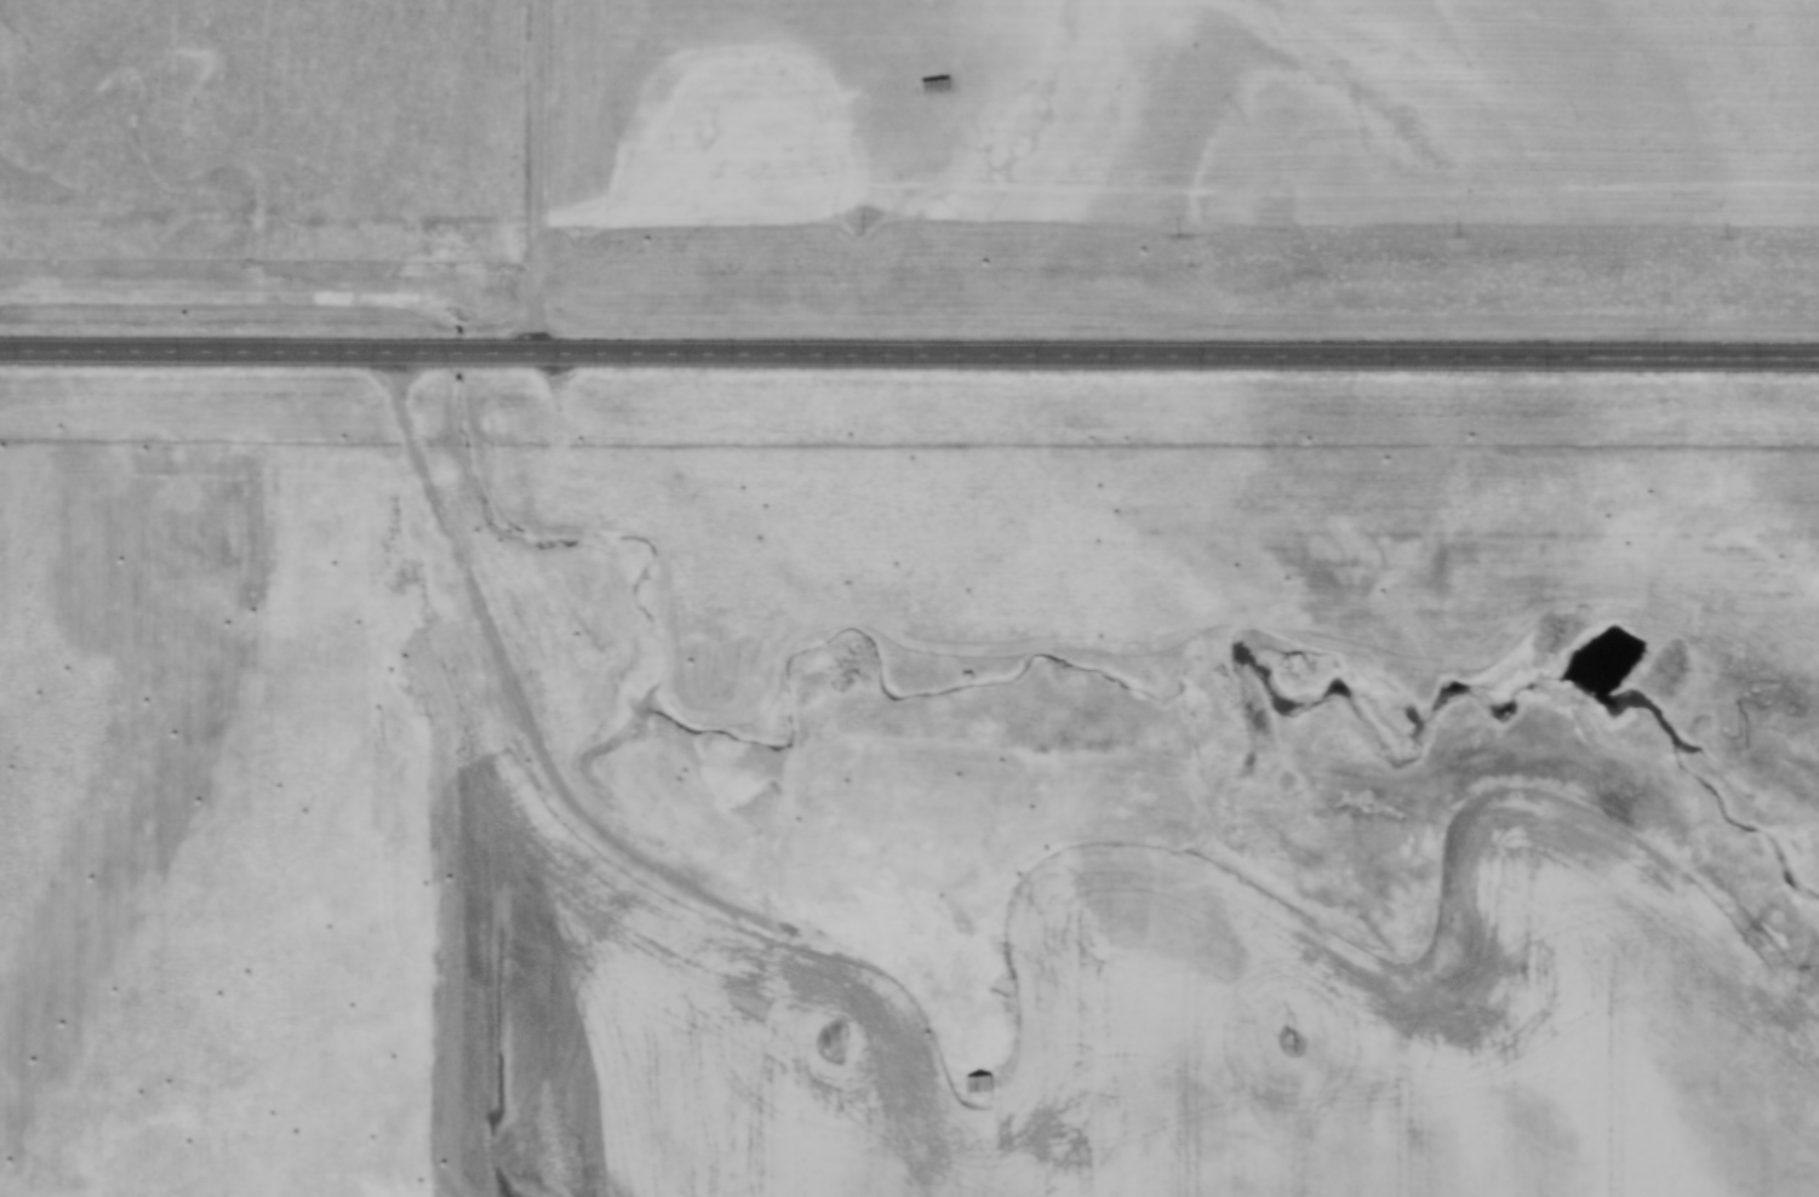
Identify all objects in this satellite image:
road: (539, 176)
road: (909, 353)
road: (531, 714)
building: (339, 751)
building: (858, 827)
building: (977, 1084)

